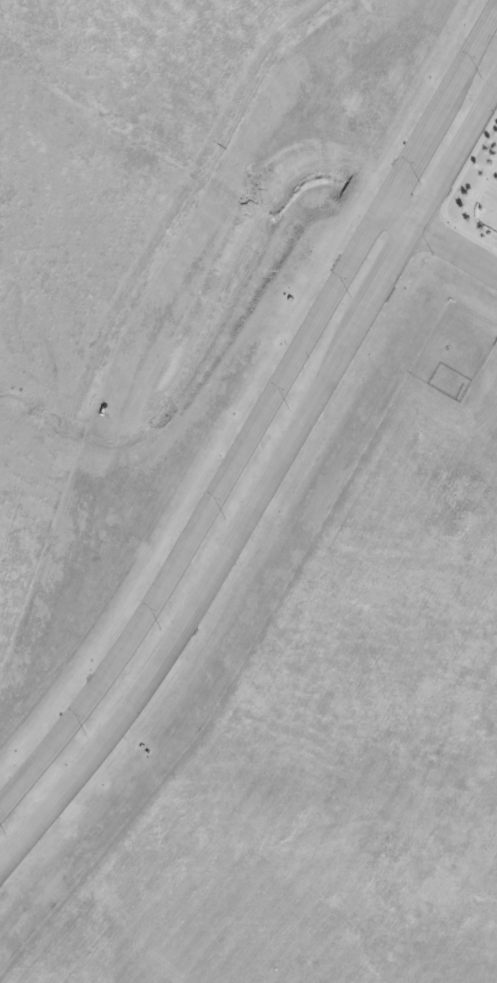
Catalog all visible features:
road: (463, 62)
road: (460, 156)
road: (408, 159)
road: (404, 210)
road: (460, 243)
road: (397, 268)
road: (204, 513)
road: (200, 606)

